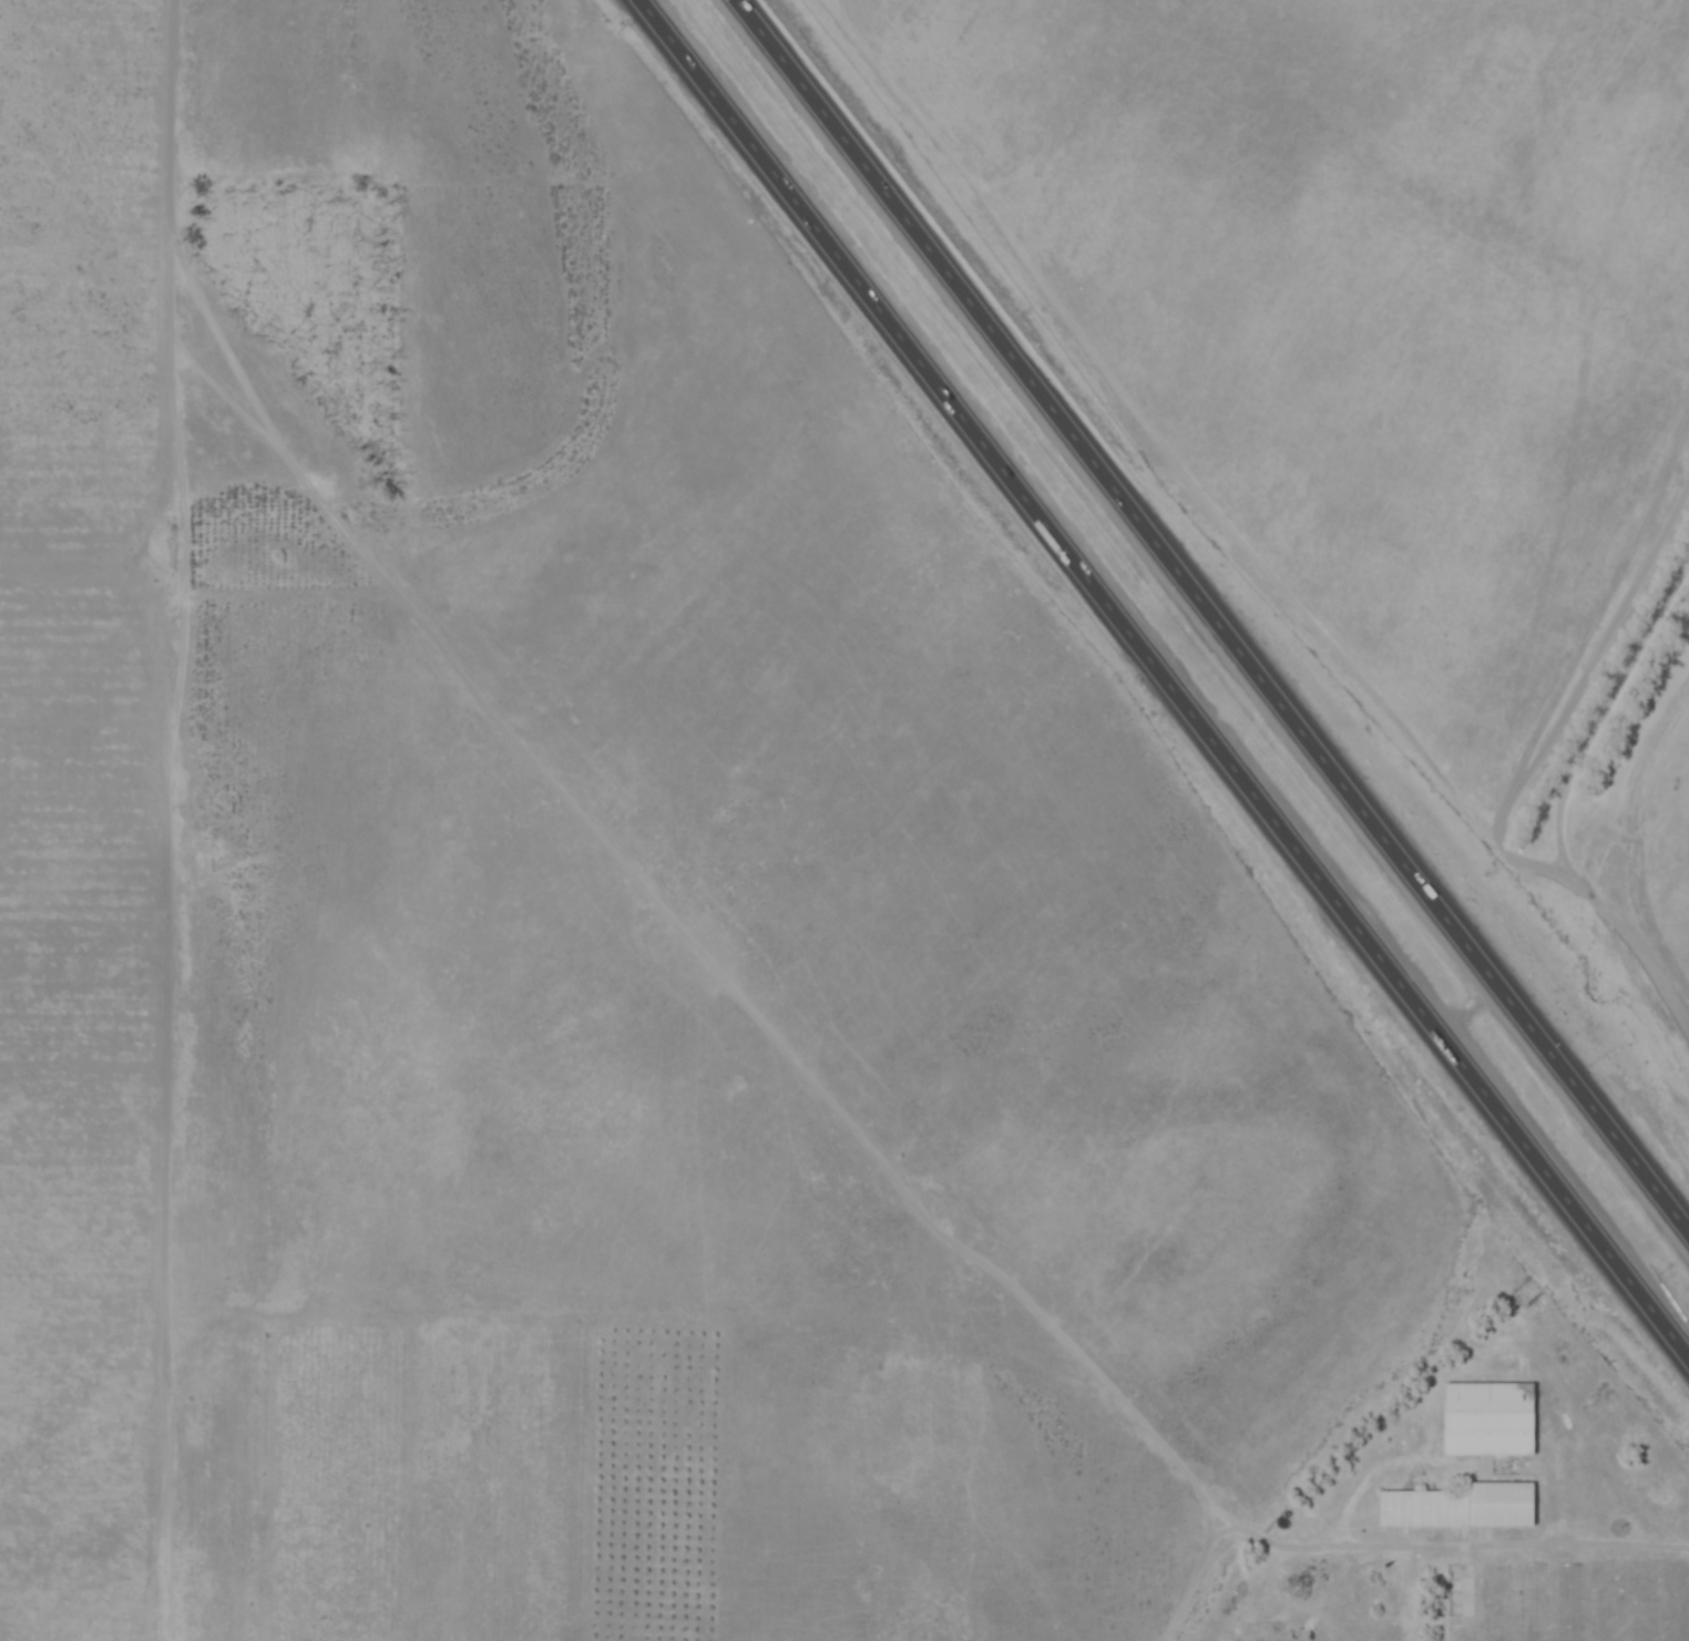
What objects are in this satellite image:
crop: (1393, 390)
road: (1210, 618)
road: (1161, 680)
road: (1566, 819)
crop: (592, 905)
road: (1470, 1014)
building: (1485, 1423)
building: (1455, 1510)
road: (1534, 1543)

